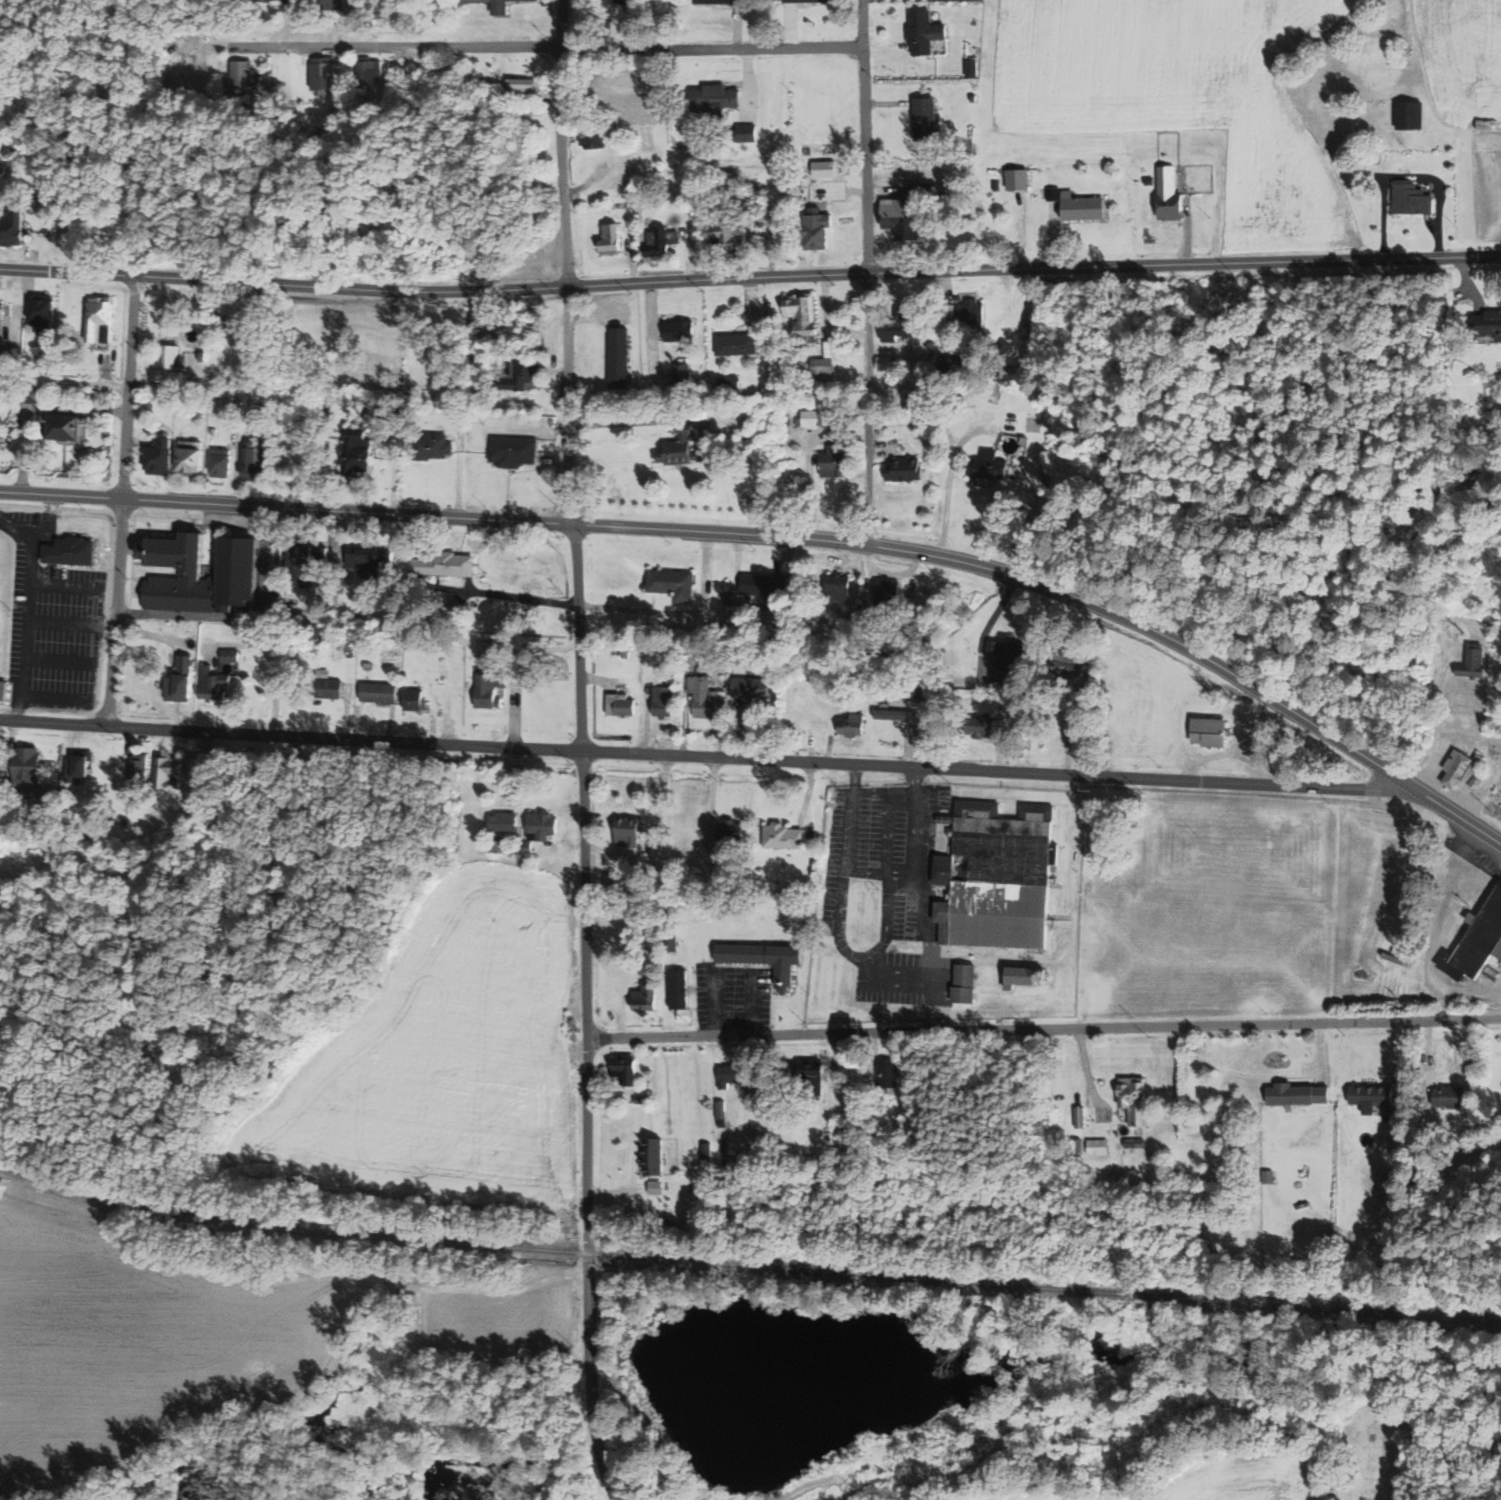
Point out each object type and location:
building: (263, 0)
building: (709, 1)
building: (806, 1)
building: (622, 2)
building: (495, 5)
building: (923, 32)
road: (394, 48)
road: (712, 49)
crop: (1463, 57)
building: (971, 68)
building: (368, 71)
building: (323, 75)
building: (244, 79)
building: (523, 86)
building: (269, 90)
building: (714, 99)
building: (973, 99)
crop: (1179, 100)
building: (1410, 116)
building: (924, 118)
building: (610, 125)
building: (743, 133)
road: (866, 136)
building: (592, 140)
building: (819, 173)
building: (1017, 177)
building: (1148, 179)
building: (995, 184)
building: (917, 187)
building: (940, 187)
building: (1054, 192)
building: (1168, 194)
building: (1411, 199)
building: (799, 200)
building: (631, 204)
building: (1080, 205)
building: (727, 214)
building: (901, 215)
building: (10, 225)
building: (815, 229)
building: (729, 236)
building: (610, 237)
building: (659, 240)
road: (750, 279)
building: (949, 309)
building: (801, 310)
building: (971, 312)
building: (0, 316)
building: (40, 316)
building: (478, 316)
building: (98, 319)
building: (226, 321)
building: (899, 323)
building: (1488, 323)
building: (1026, 326)
building: (679, 330)
building: (735, 344)
building: (1037, 350)
building: (201, 355)
building: (619, 357)
building: (4, 362)
building: (884, 362)
building: (951, 362)
building: (168, 363)
building: (59, 365)
building: (821, 367)
building: (1012, 369)
building: (523, 372)
building: (681, 374)
road: (64, 380)
building: (728, 384)
building: (28, 393)
building: (993, 394)
building: (152, 396)
building: (219, 406)
road: (869, 407)
building: (180, 409)
building: (822, 409)
building: (324, 412)
building: (397, 413)
building: (472, 415)
road: (642, 422)
building: (59, 423)
building: (212, 430)
building: (429, 445)
building: (511, 449)
building: (683, 450)
building: (355, 453)
building: (157, 455)
building: (188, 456)
building: (219, 462)
building: (252, 462)
building: (833, 462)
building: (986, 464)
building: (904, 470)
road: (949, 481)
road: (121, 499)
road: (787, 537)
building: (69, 550)
building: (304, 563)
building: (368, 563)
building: (442, 564)
building: (199, 572)
building: (673, 583)
building: (763, 587)
building: (833, 587)
building: (274, 589)
building: (889, 594)
road: (502, 595)
building: (451, 605)
road: (675, 613)
park: (6, 614)
building: (905, 631)
building: (347, 646)
building: (523, 646)
building: (317, 647)
building: (491, 649)
building: (624, 654)
building: (229, 655)
building: (745, 655)
building: (1011, 655)
building: (1472, 663)
building: (1076, 664)
building: (178, 681)
building: (212, 682)
building: (325, 685)
building: (751, 686)
building: (906, 686)
building: (488, 689)
building: (3, 690)
building: (927, 691)
building: (378, 692)
building: (705, 697)
building: (663, 700)
building: (415, 701)
building: (620, 705)
building: (1084, 706)
building: (892, 714)
road: (579, 717)
road: (54, 720)
building: (850, 726)
building: (981, 726)
building: (1211, 732)
road: (760, 759)
building: (26, 766)
building: (198, 767)
building: (76, 768)
building: (137, 769)
building: (1463, 770)
building: (166, 771)
building: (5, 791)
road: (885, 792)
building: (47, 821)
building: (502, 821)
building: (125, 823)
building: (540, 825)
building: (730, 830)
building: (628, 832)
road: (889, 832)
building: (781, 836)
building: (526, 847)
road: (868, 872)
road: (902, 873)
building: (996, 878)
building: (613, 880)
parking lot: (887, 888)
building: (730, 909)
road: (925, 914)
road: (839, 915)
building: (663, 919)
road: (1432, 934)
building: (616, 941)
building: (1477, 942)
building: (763, 959)
building: (965, 974)
building: (1023, 976)
building: (678, 989)
building: (962, 994)
building: (645, 996)
parking lot: (735, 997)
building: (684, 1015)
road: (1044, 1029)
crop: (441, 1062)
building: (624, 1068)
building: (730, 1074)
building: (886, 1074)
building: (809, 1077)
building: (1296, 1094)
building: (1371, 1096)
building: (1449, 1097)
building: (639, 1101)
building: (1134, 1104)
building: (720, 1112)
building: (1079, 1117)
building: (877, 1121)
building: (847, 1128)
building: (1135, 1143)
building: (1097, 1146)
building: (1076, 1148)
building: (706, 1152)
building: (653, 1157)
building: (746, 1159)
building: (1268, 1177)
building: (1389, 1178)
building: (655, 1188)
building: (666, 1223)
railway: (747, 1266)
crop: (142, 1347)
road: (605, 1467)

